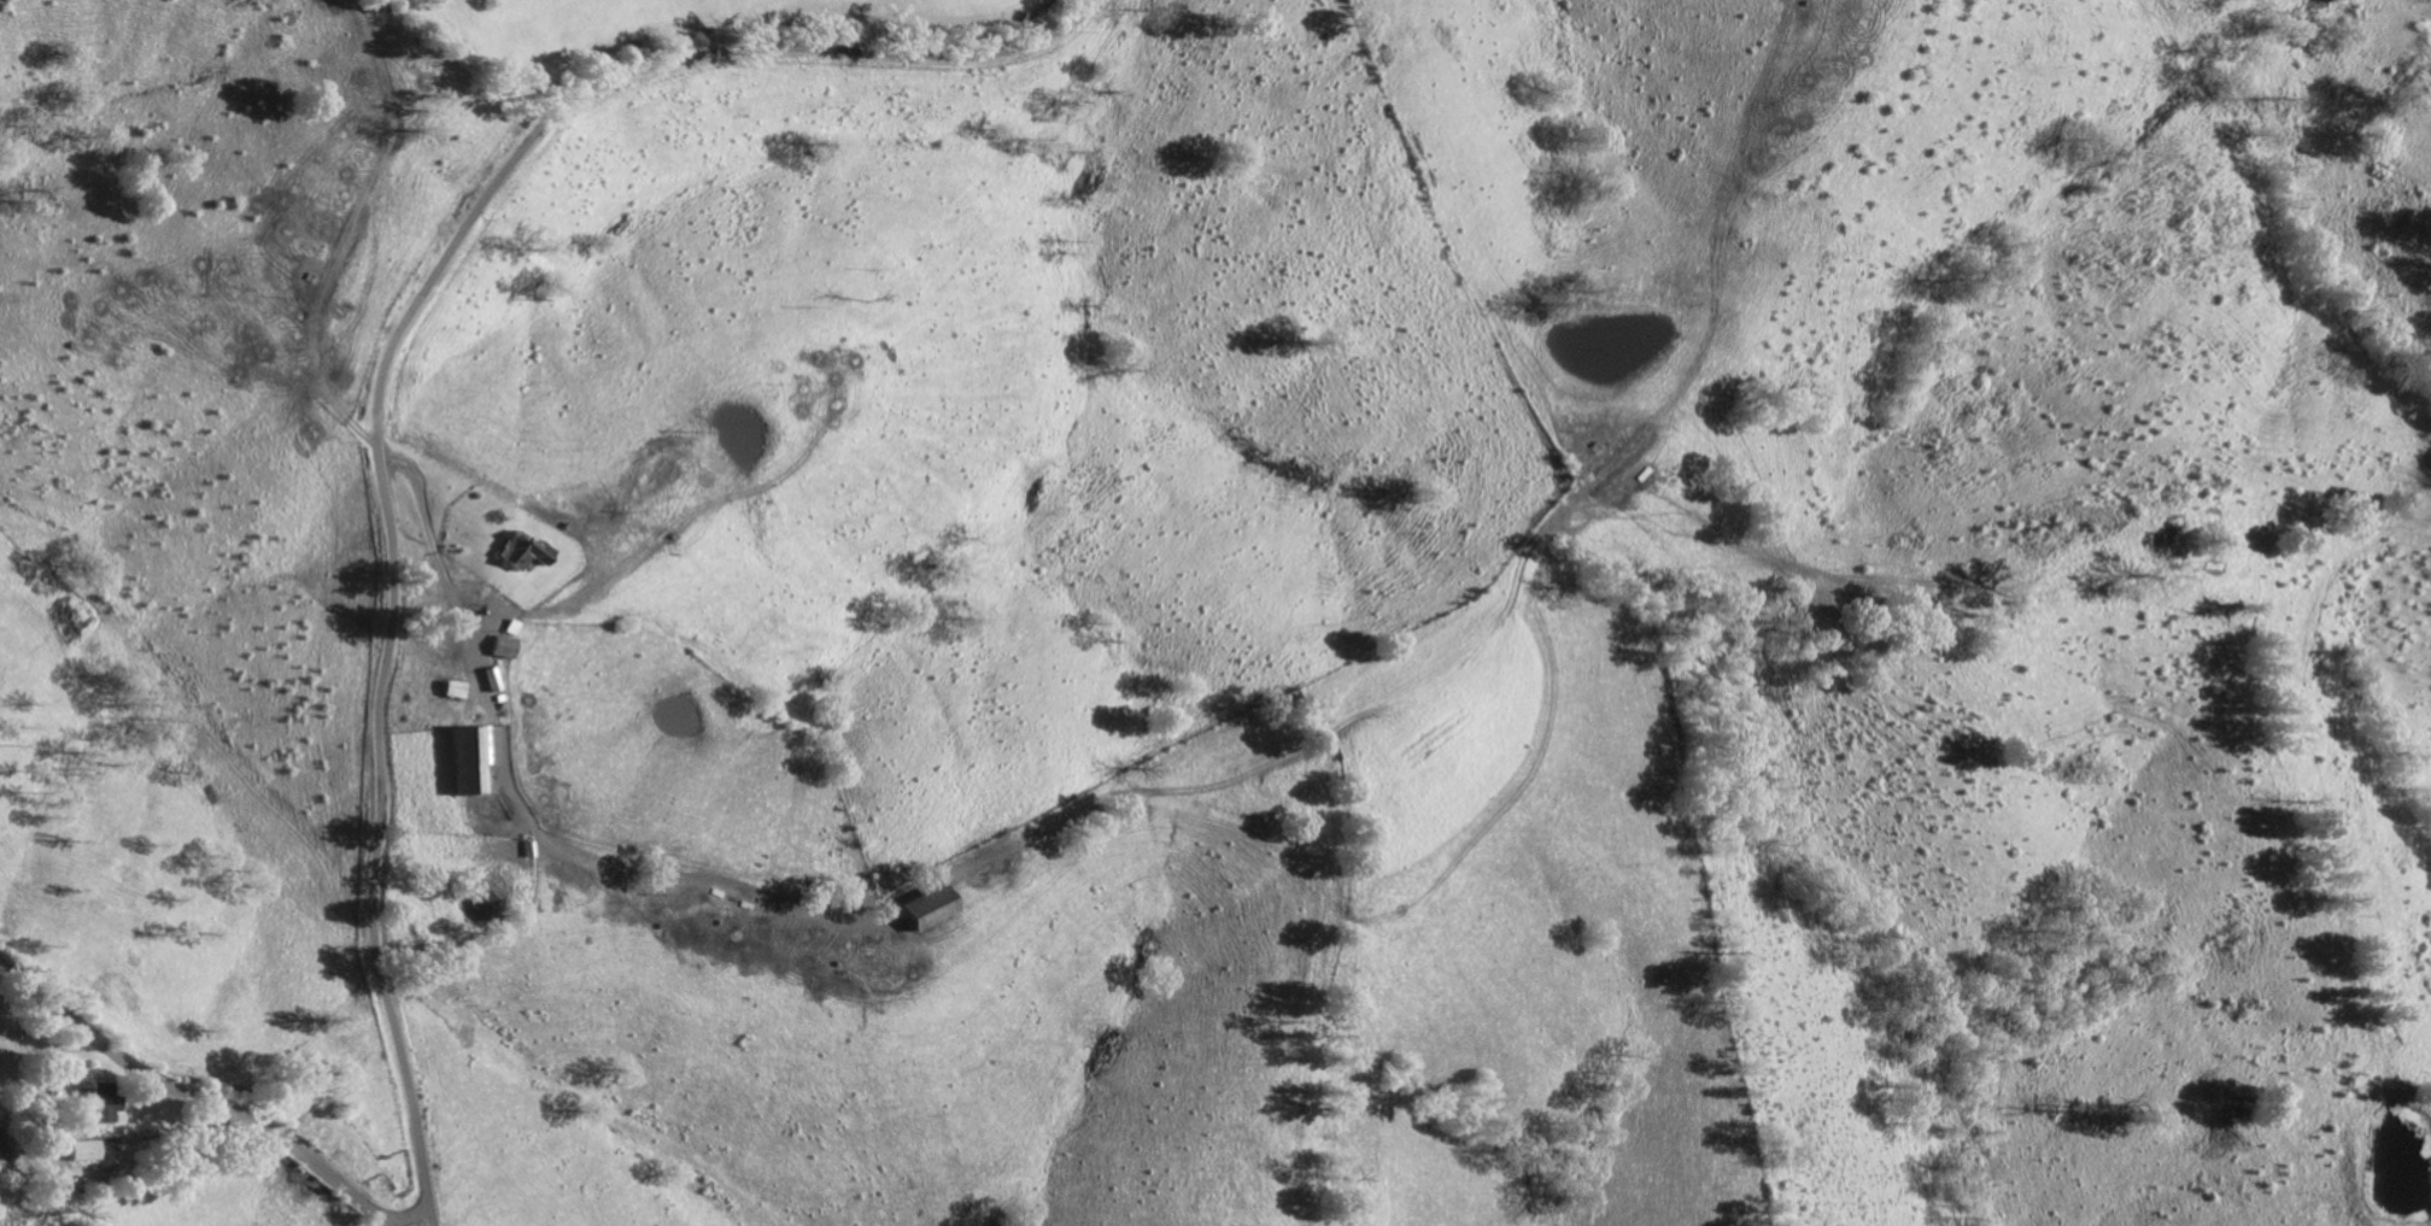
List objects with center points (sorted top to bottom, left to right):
road: (386, 368)
building: (499, 647)
building: (469, 759)
road: (516, 806)
building: (927, 908)
road: (191, 1097)
building: (99, 1103)
building: (80, 1151)

